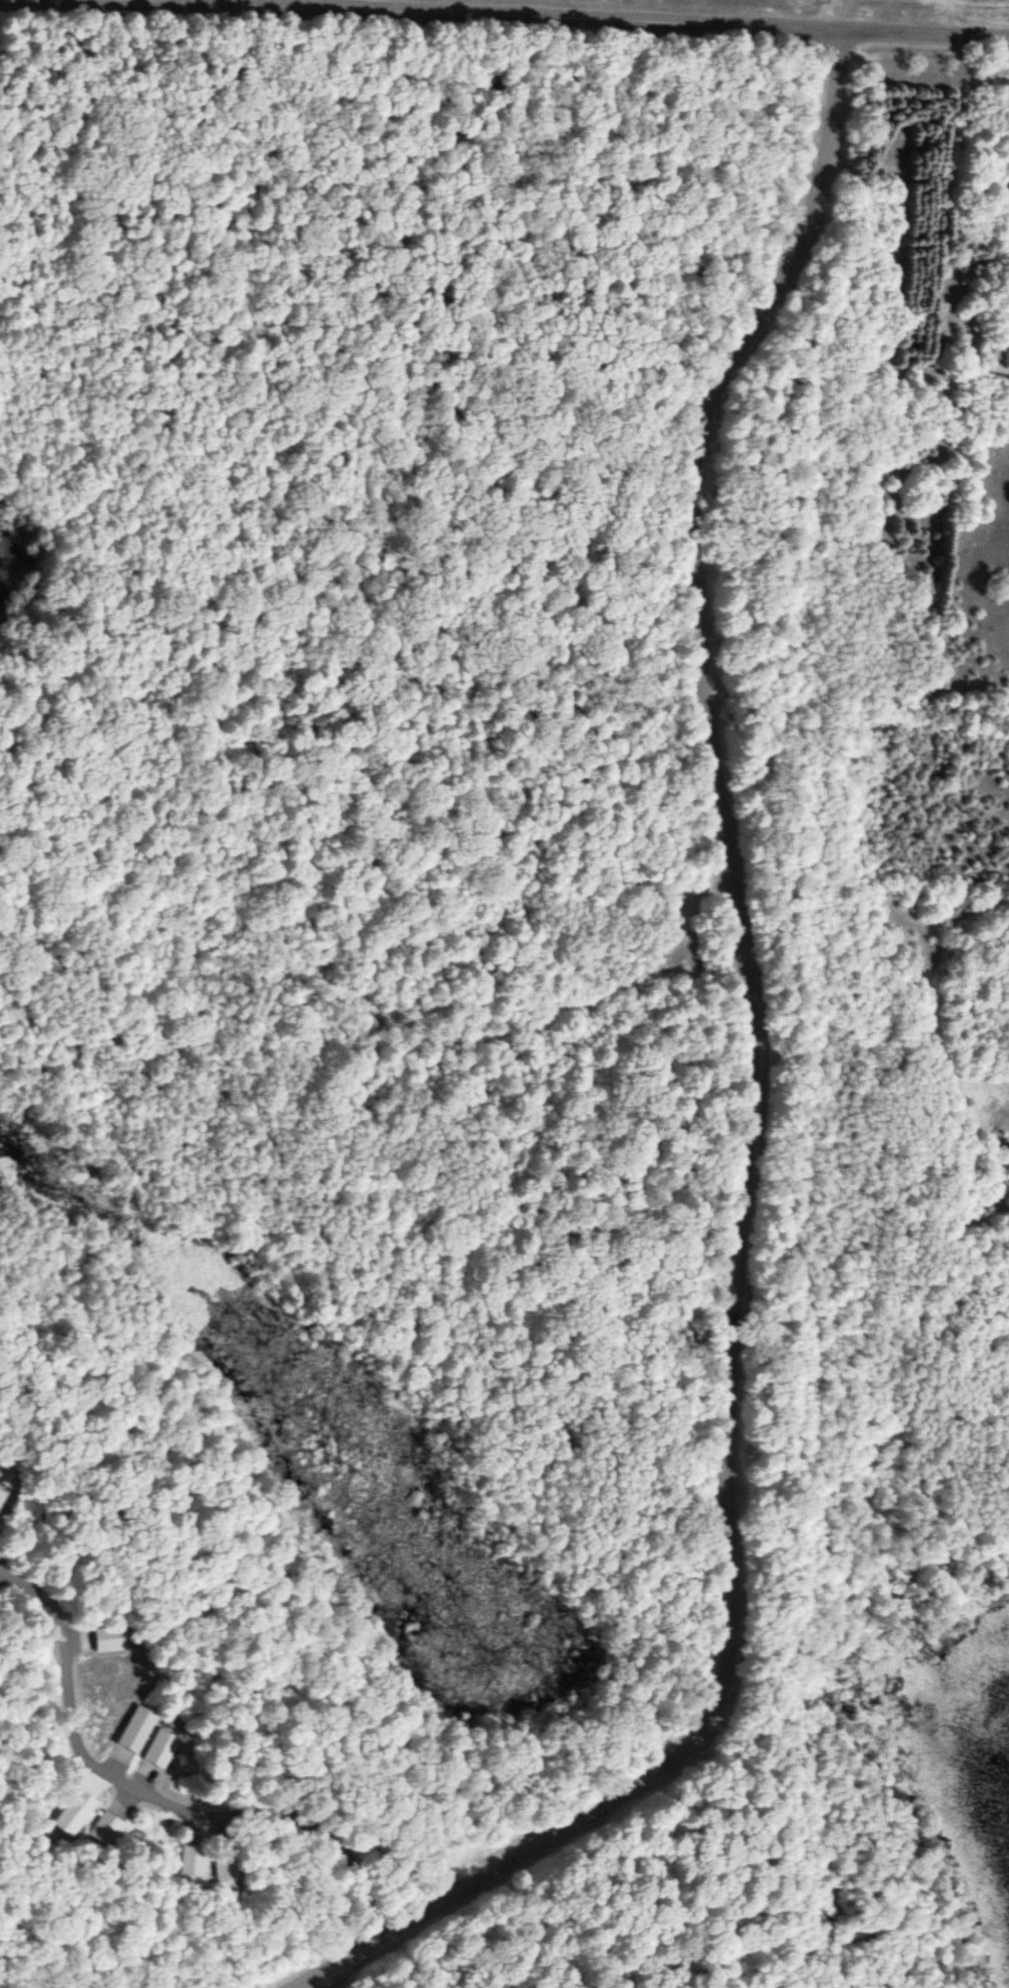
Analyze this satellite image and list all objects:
road: (541, 18)
road: (751, 1105)
building: (97, 1638)
building: (131, 1729)
building: (155, 1752)
road: (159, 1795)
building: (102, 1828)
building: (188, 1858)
building: (220, 1863)
road: (315, 1984)

